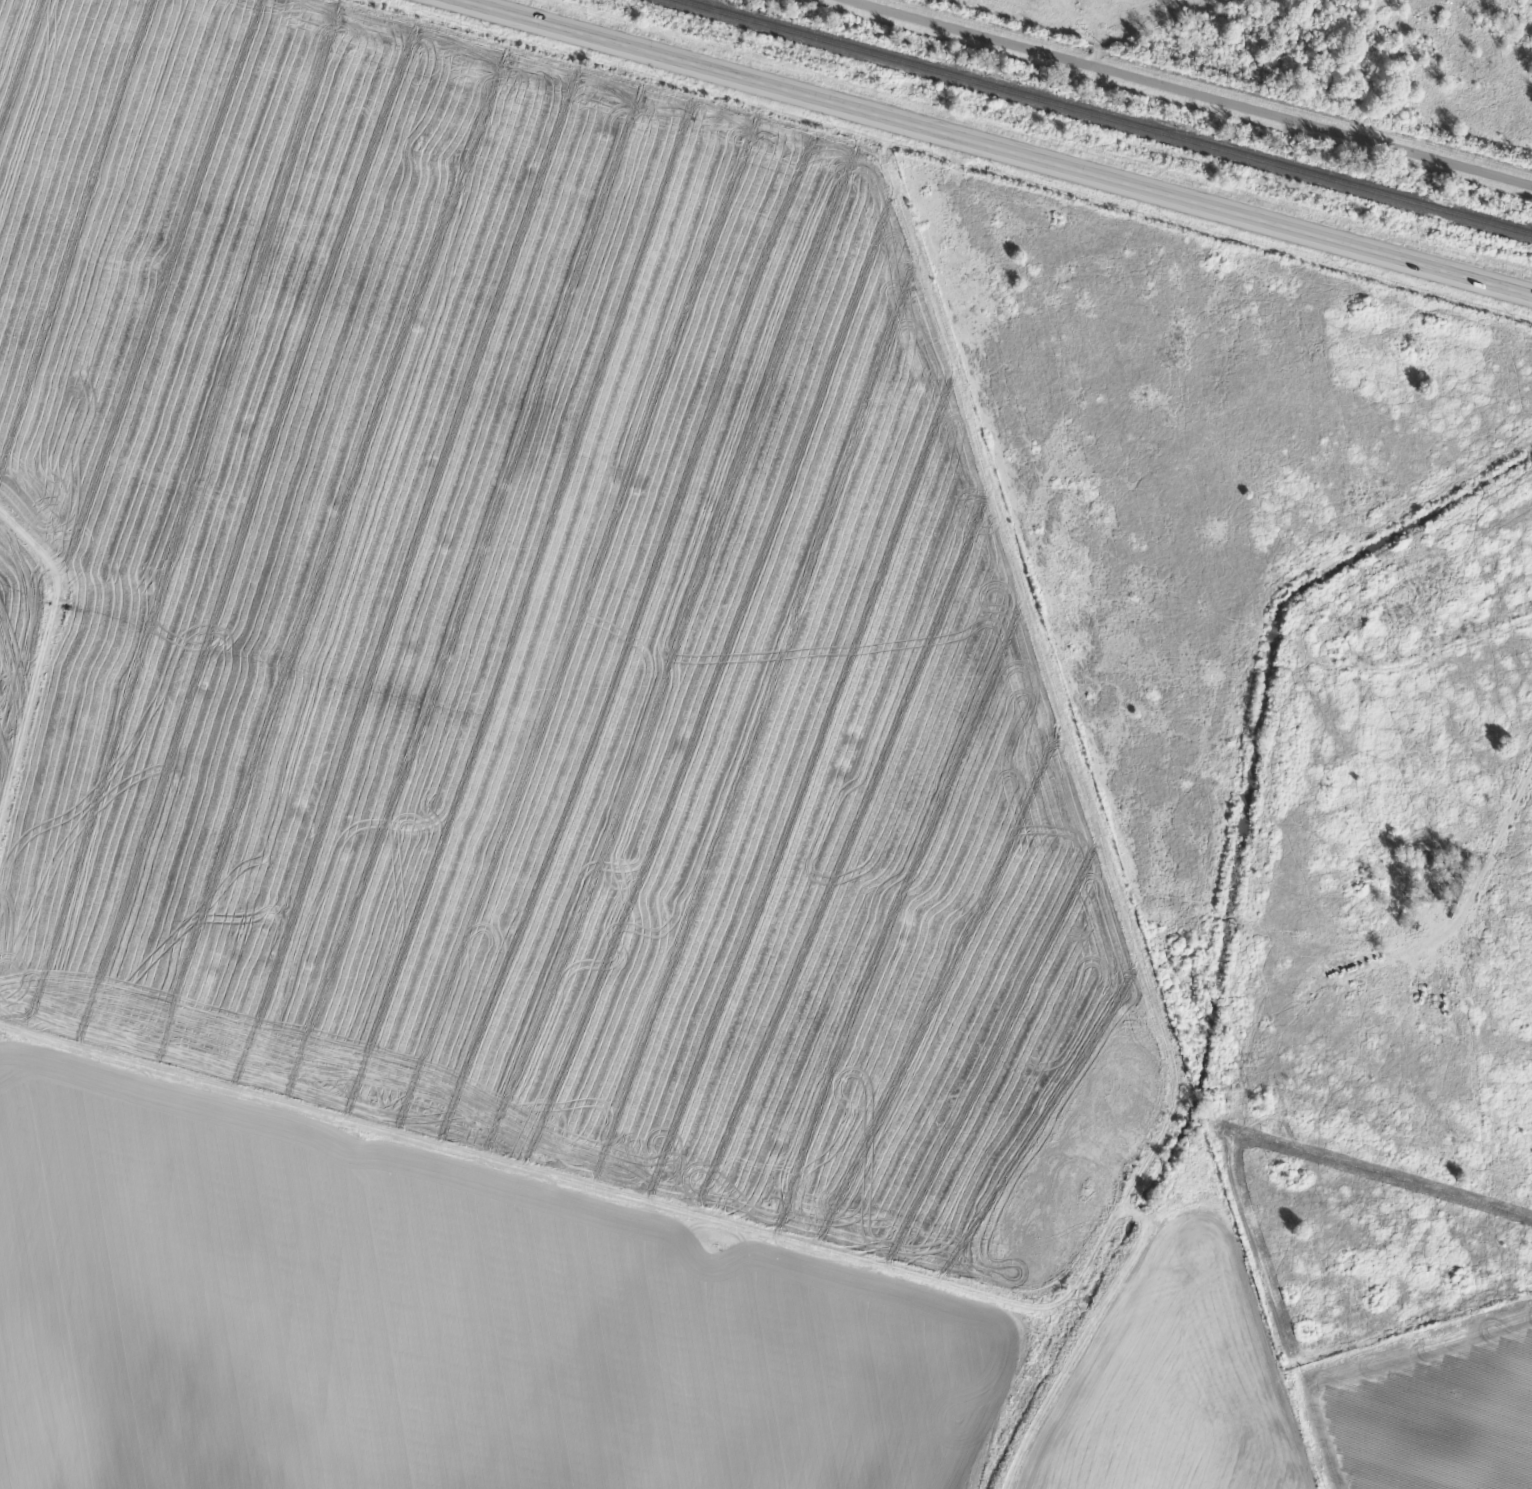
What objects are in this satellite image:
road: (1201, 91)
railway: (1101, 118)
road: (995, 146)
road: (1439, 656)
road: (1481, 893)

